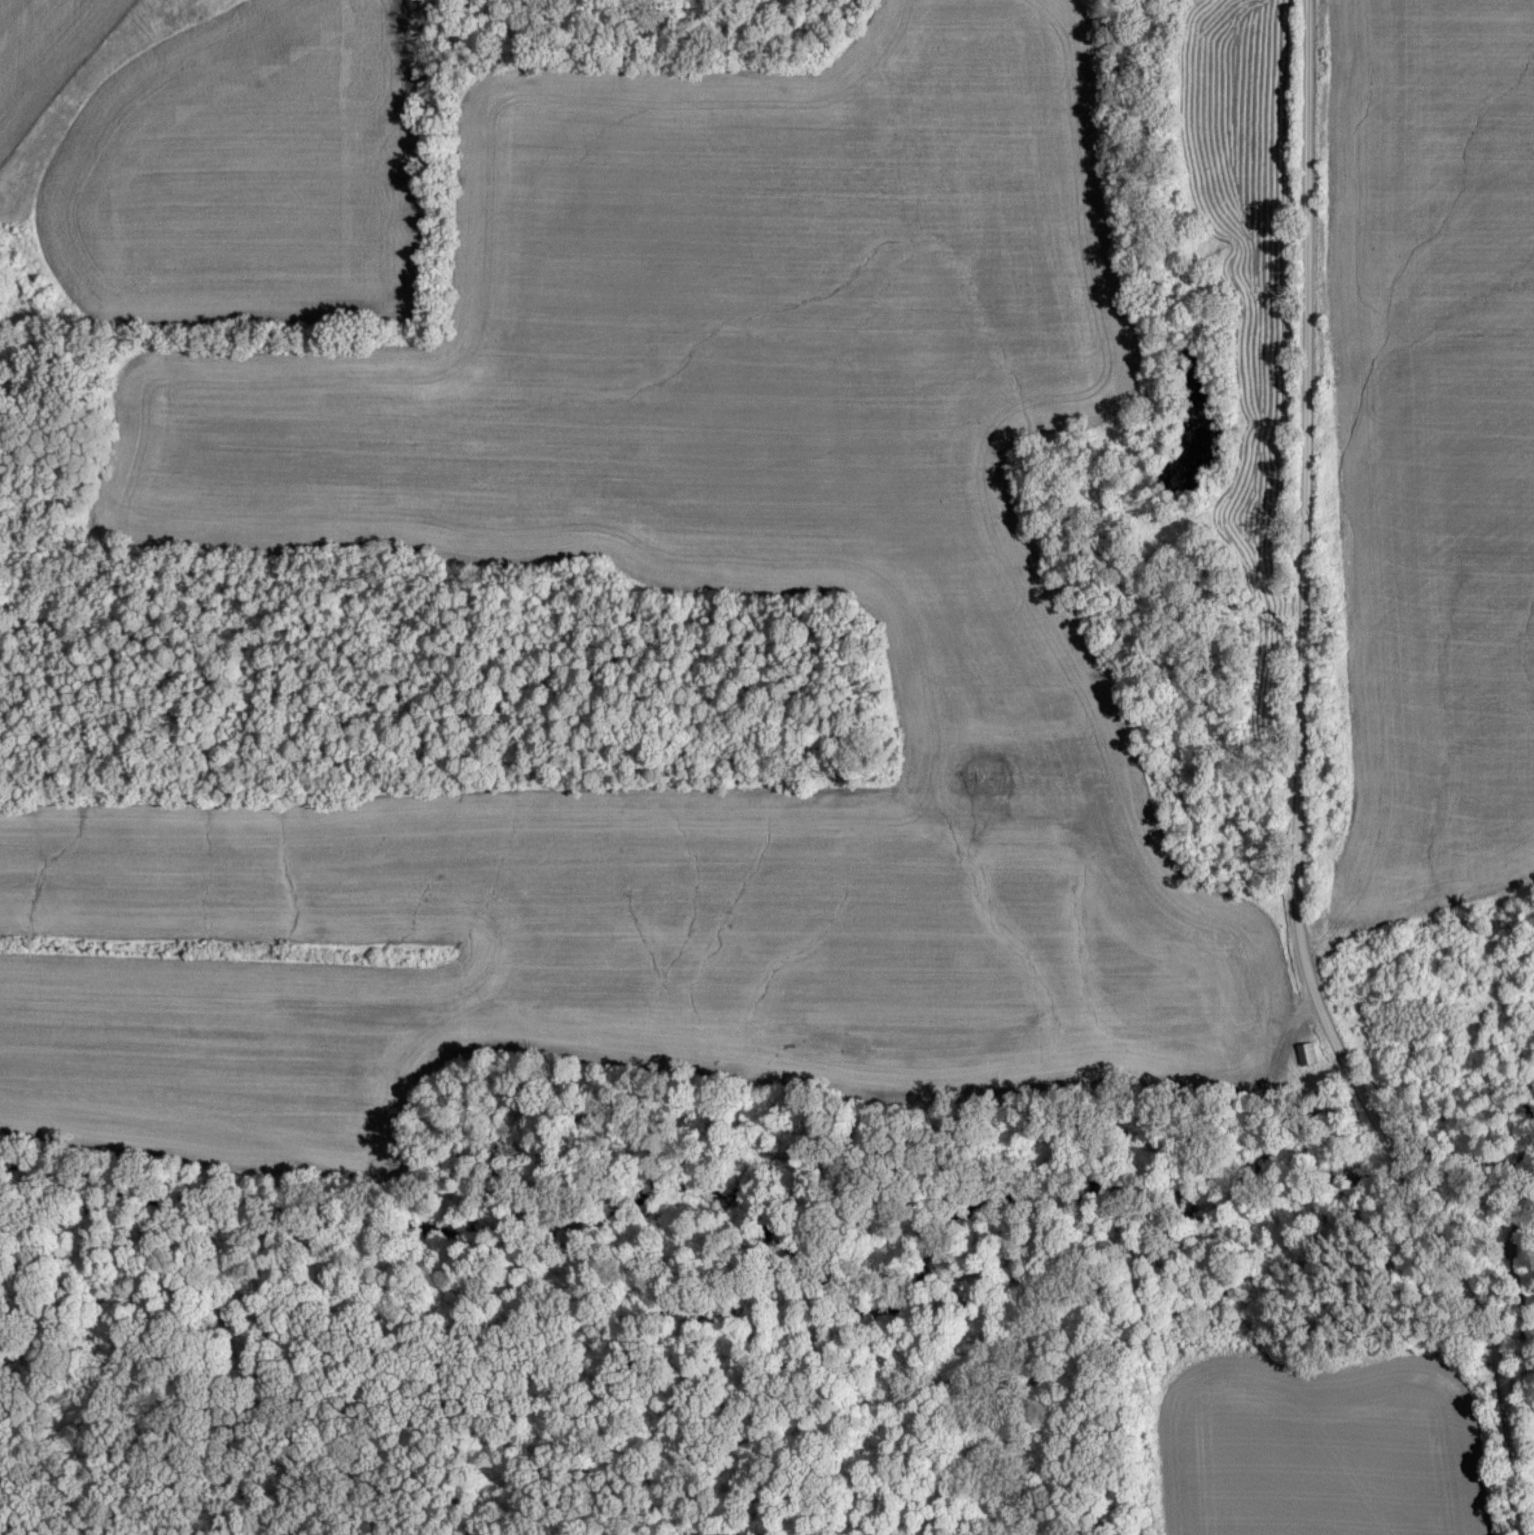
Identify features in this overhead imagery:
road: (1290, 792)
building: (1305, 1051)

